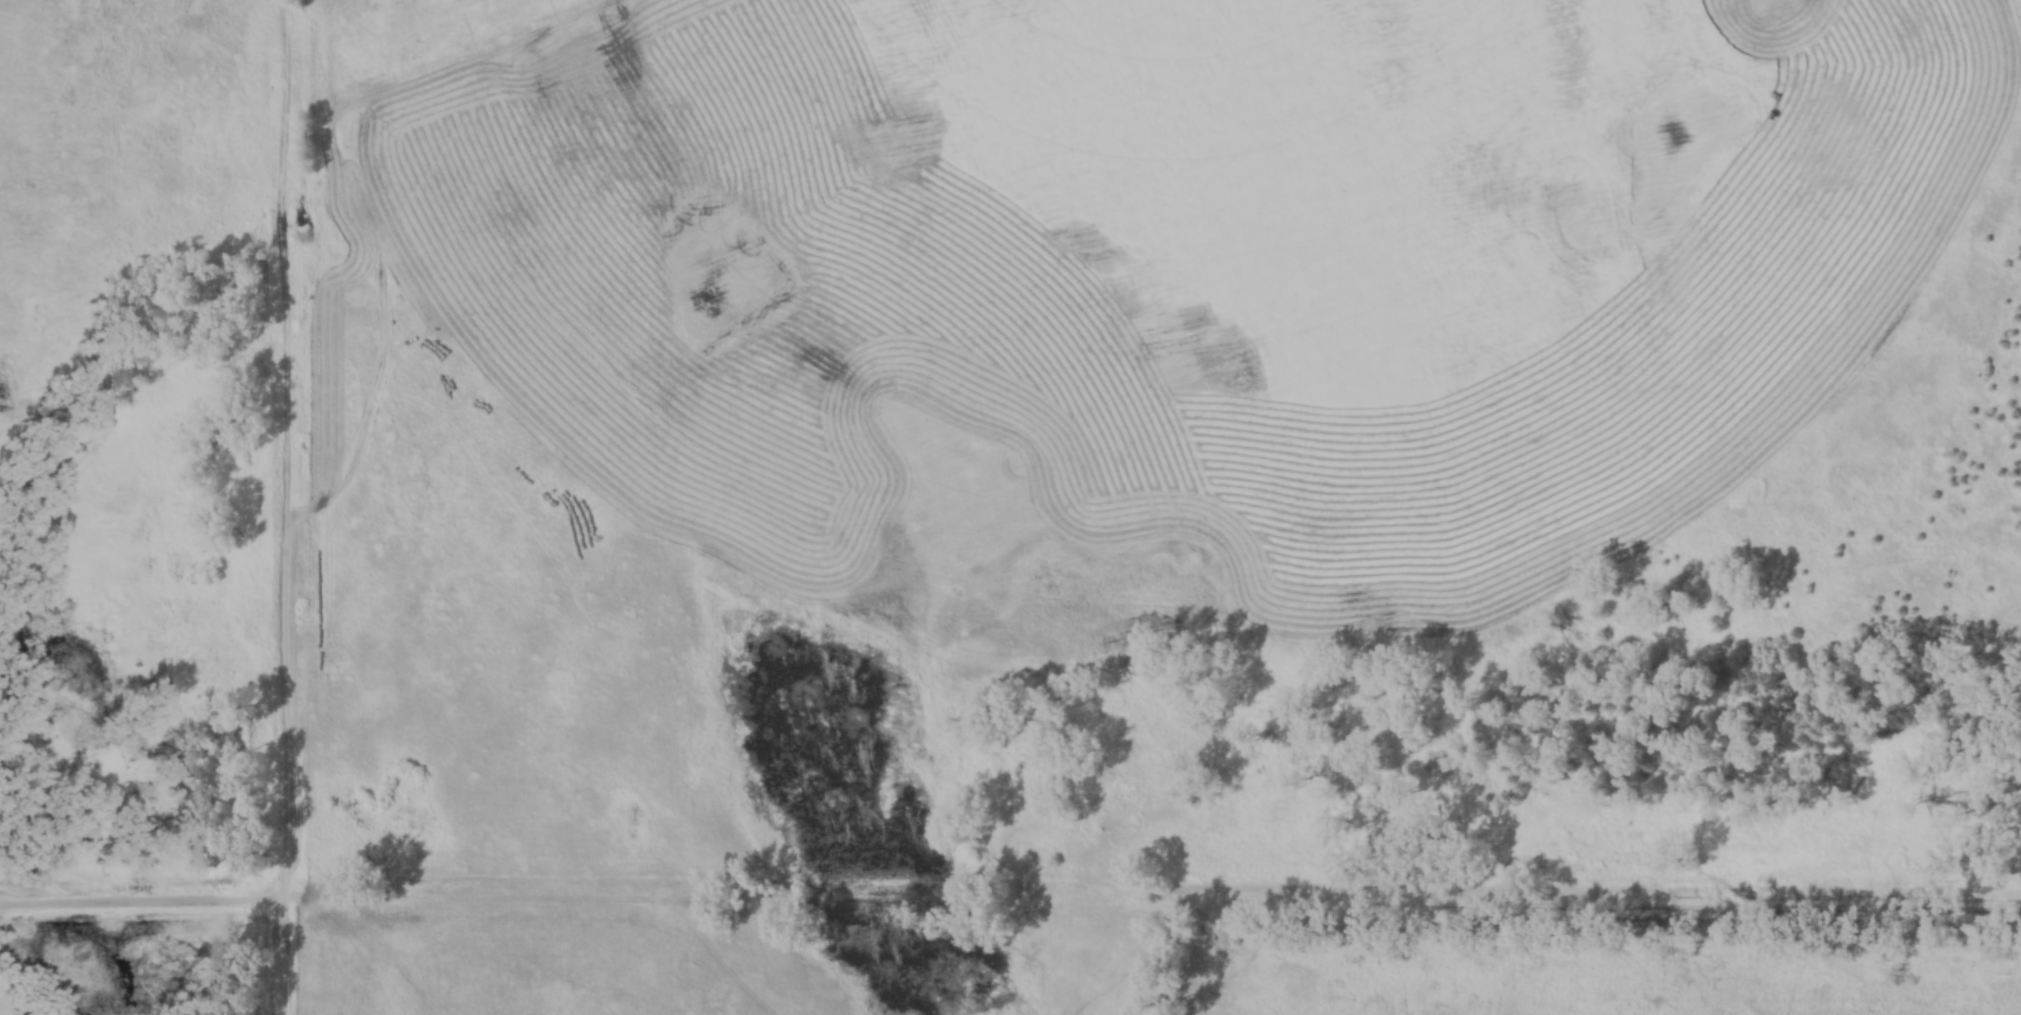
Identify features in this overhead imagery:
road: (284, 507)
road: (1010, 909)

